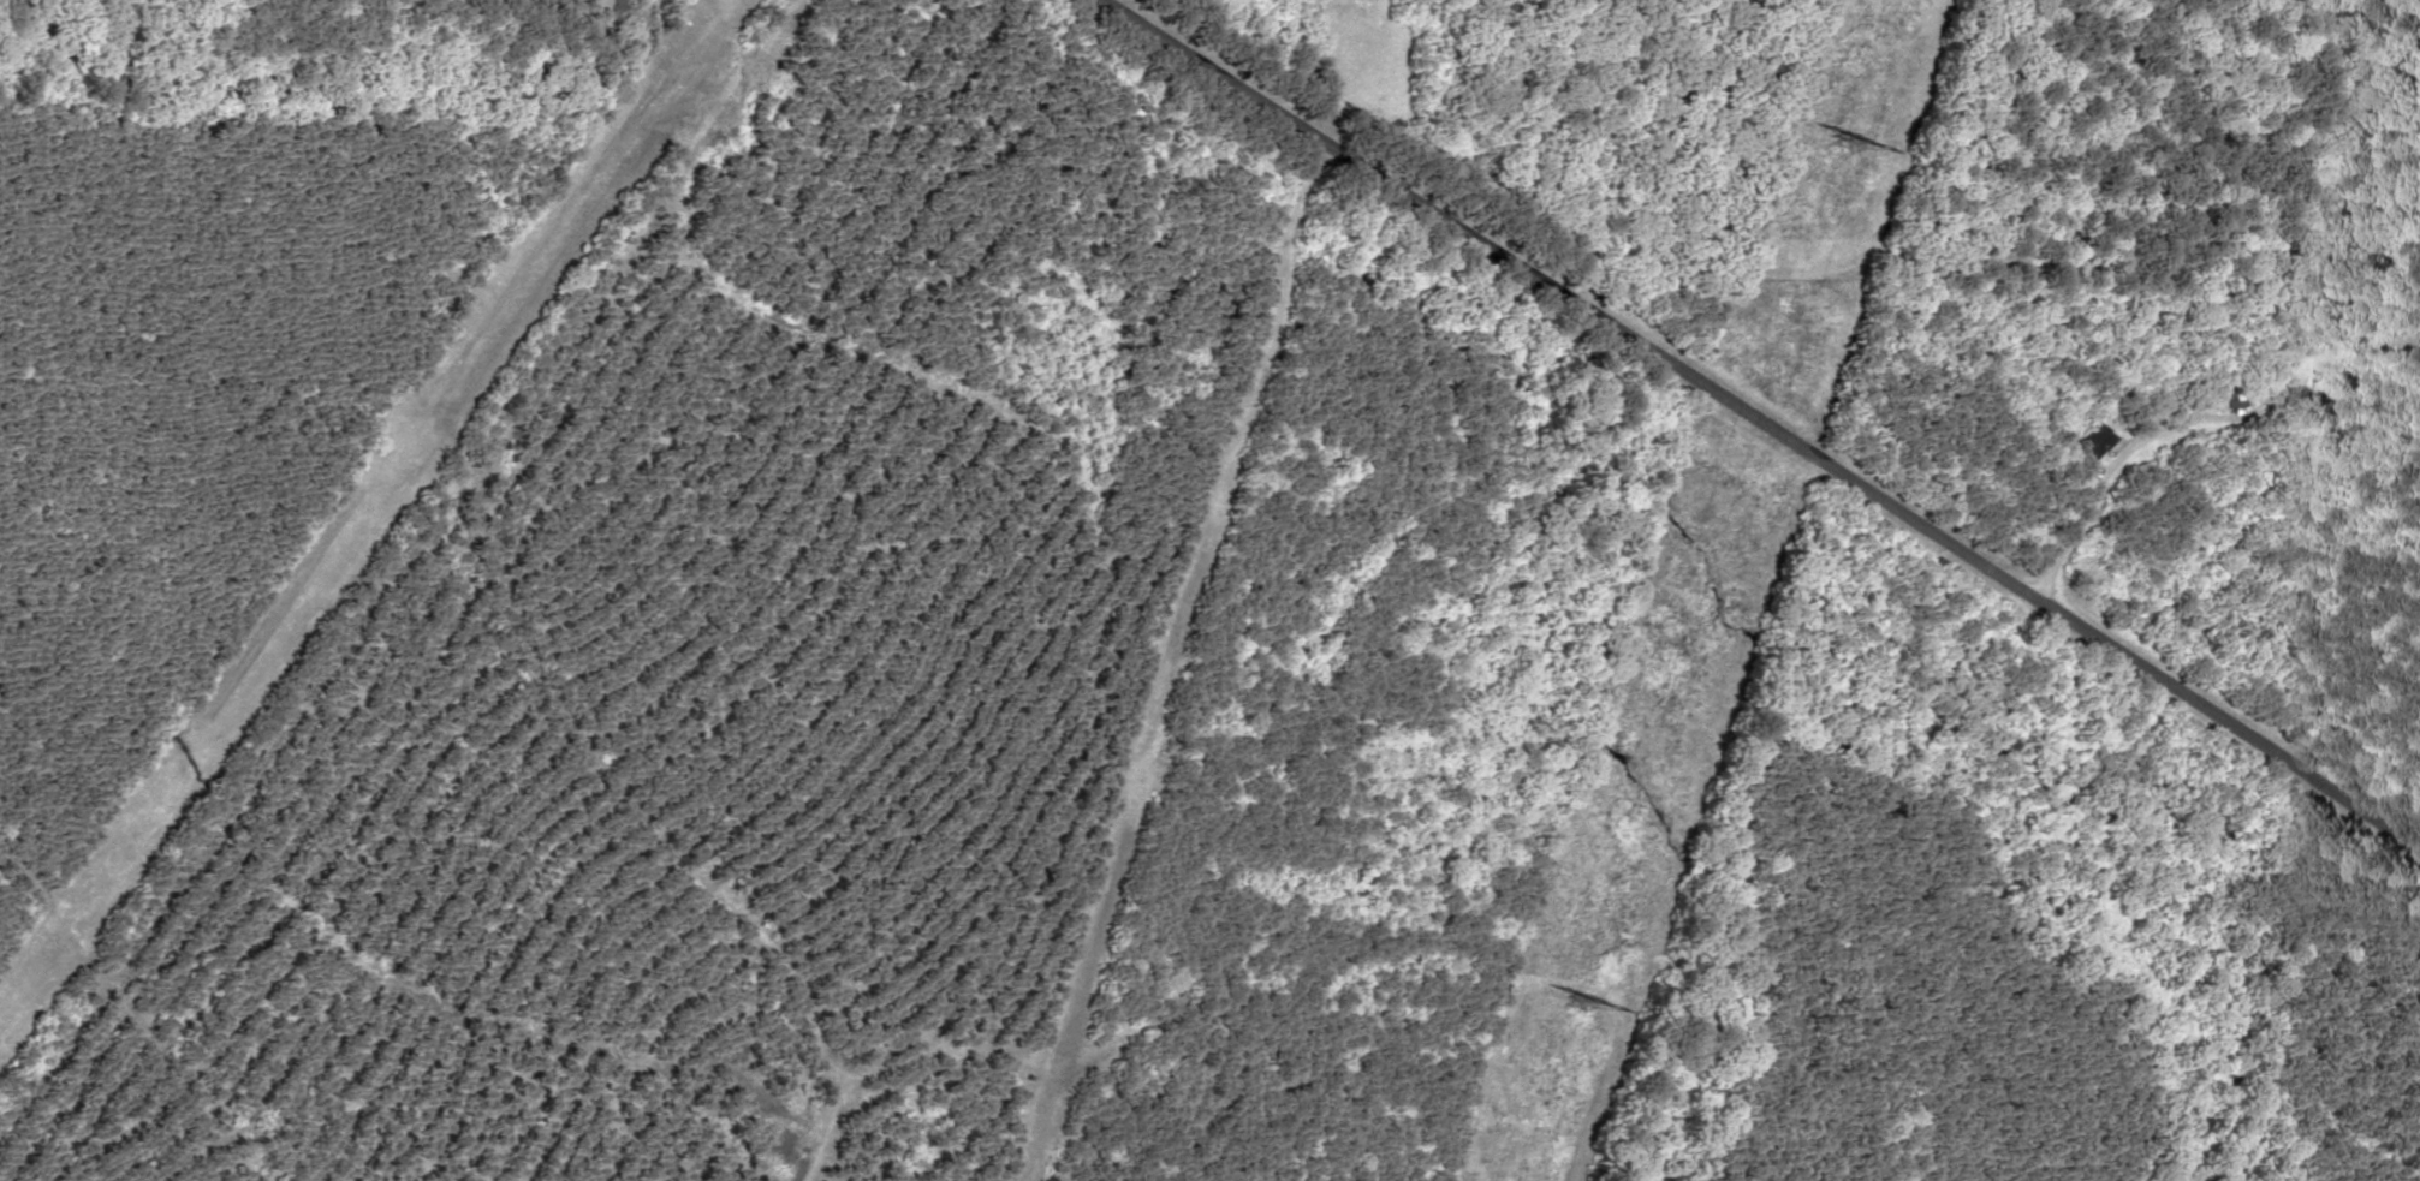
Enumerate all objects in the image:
power tower: (1837, 132)
building: (2332, 371)
building: (2228, 396)
road: (1768, 412)
building: (2087, 442)
road: (2088, 497)
road: (563, 615)
power tower: (1565, 997)

